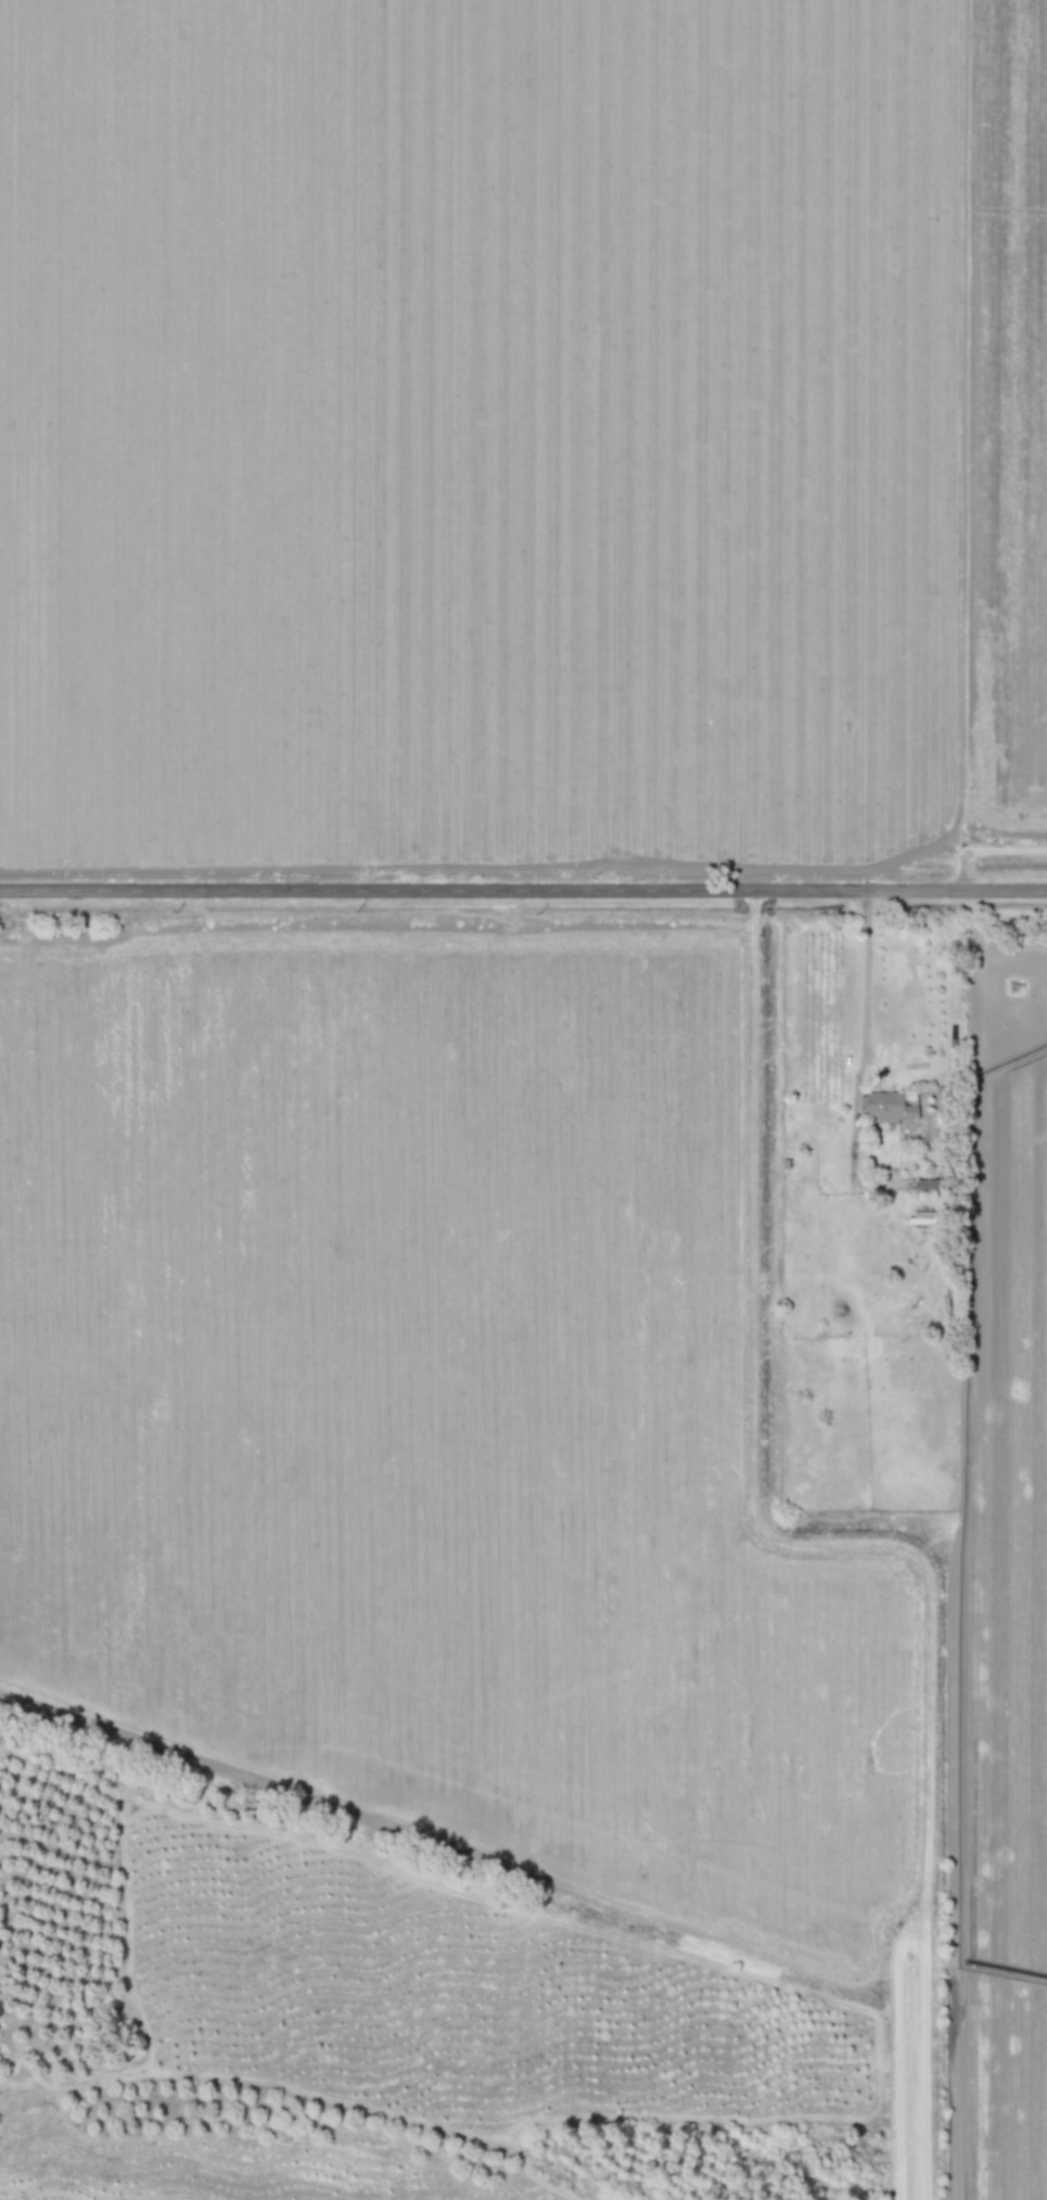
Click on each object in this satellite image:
crop: (522, 432)
road: (523, 891)
road: (866, 974)
building: (888, 1108)

